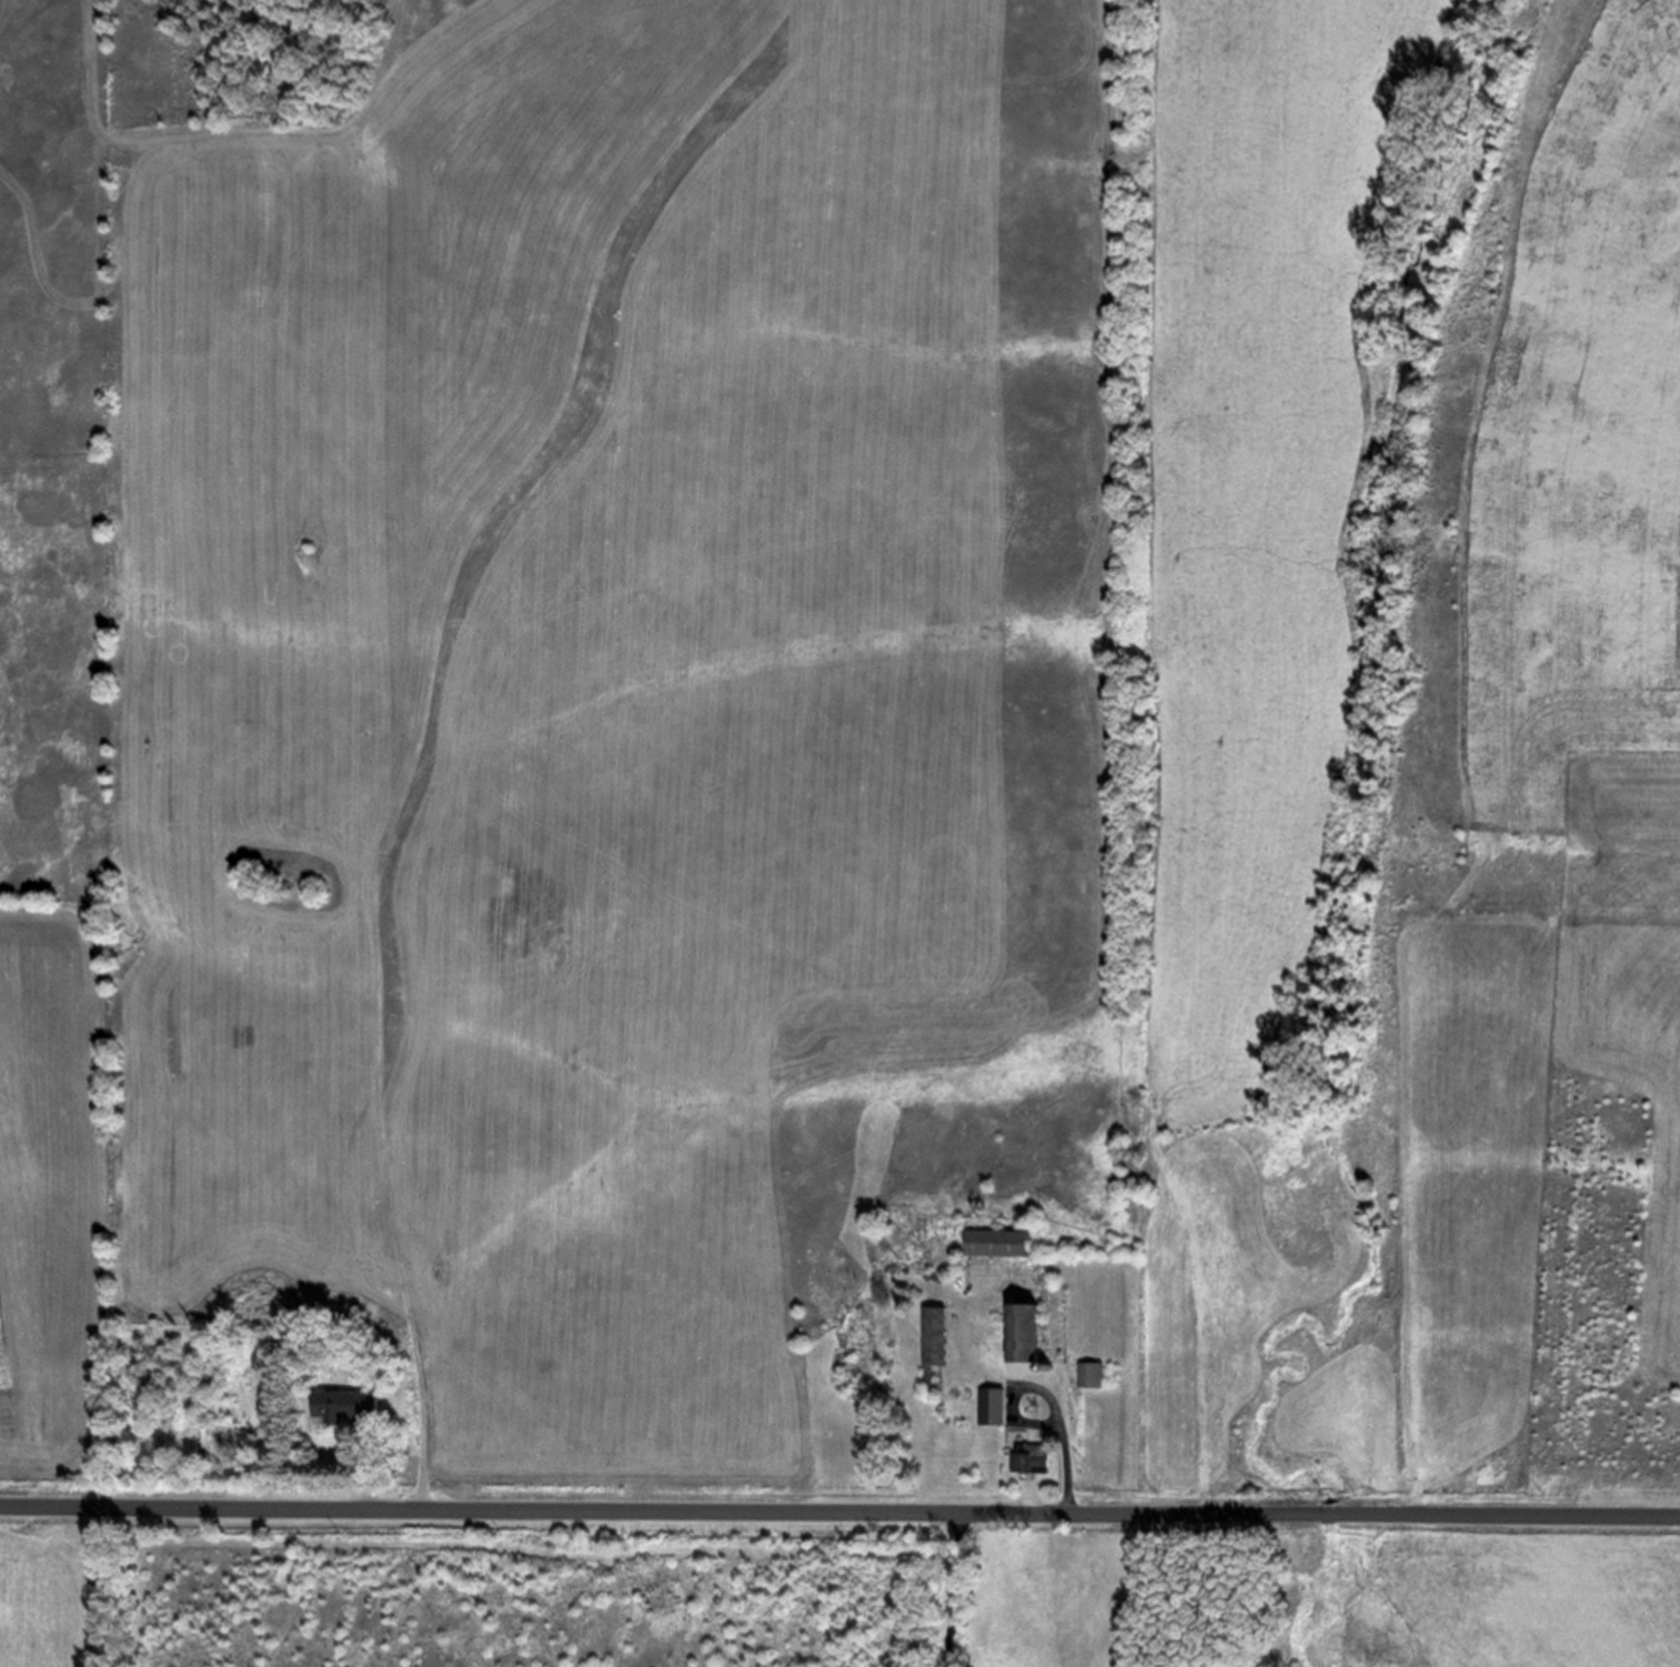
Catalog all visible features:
road: (253, 130)
road: (429, 700)
building: (998, 1242)
building: (1022, 1338)
building: (932, 1342)
building: (1088, 1375)
road: (1044, 1392)
building: (352, 1403)
building: (992, 1405)
building: (1030, 1458)
road: (372, 1467)
road: (839, 1510)
road: (954, 1589)

